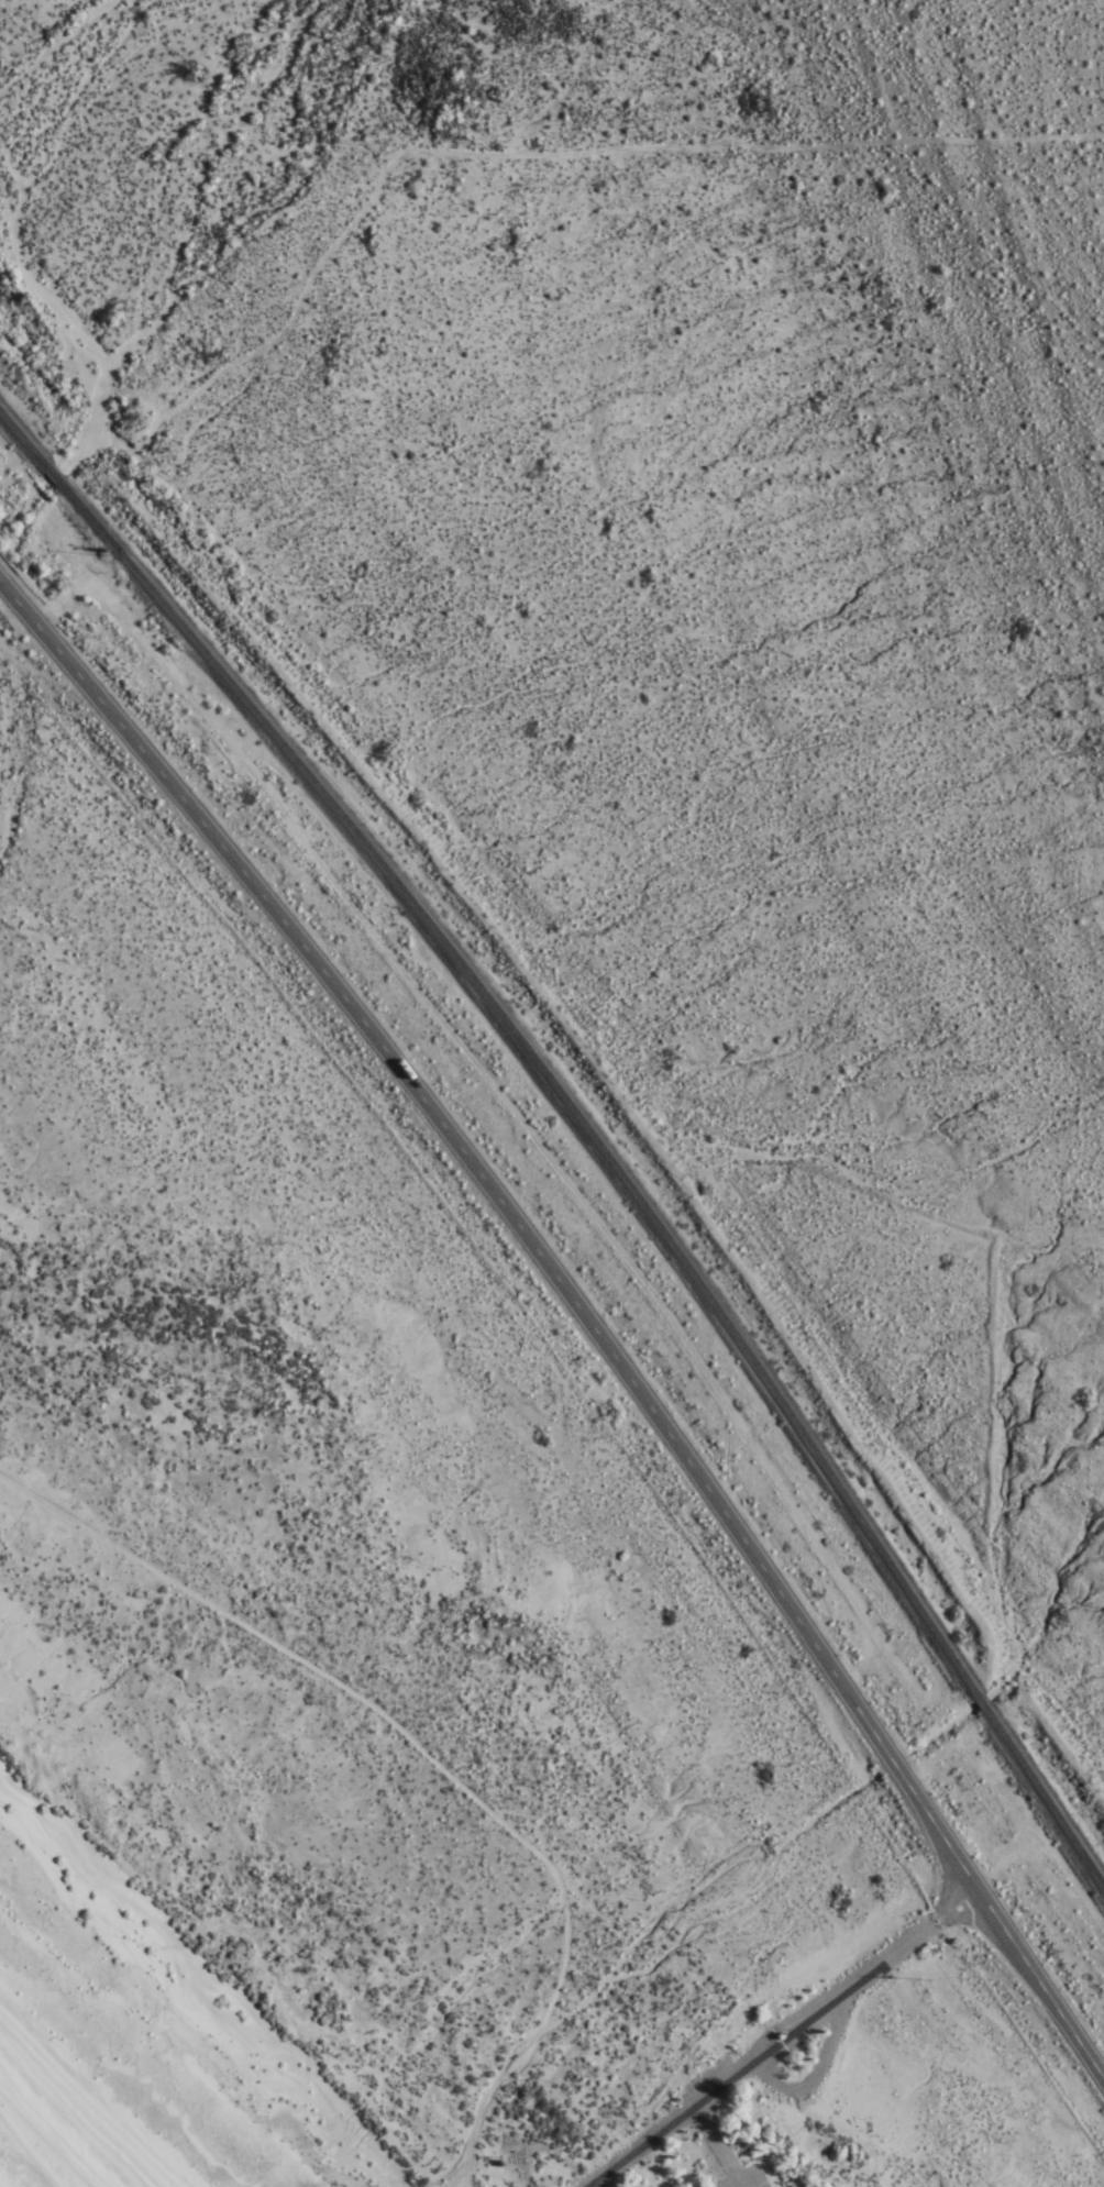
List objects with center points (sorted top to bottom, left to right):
railway: (23, 435)
railway: (54, 471)
railway: (545, 1067)
road: (467, 1151)
railway: (980, 1701)
road: (891, 1760)
railway: (1044, 1796)
road: (998, 1924)
road: (776, 2036)
road: (710, 2145)
road: (590, 2184)

